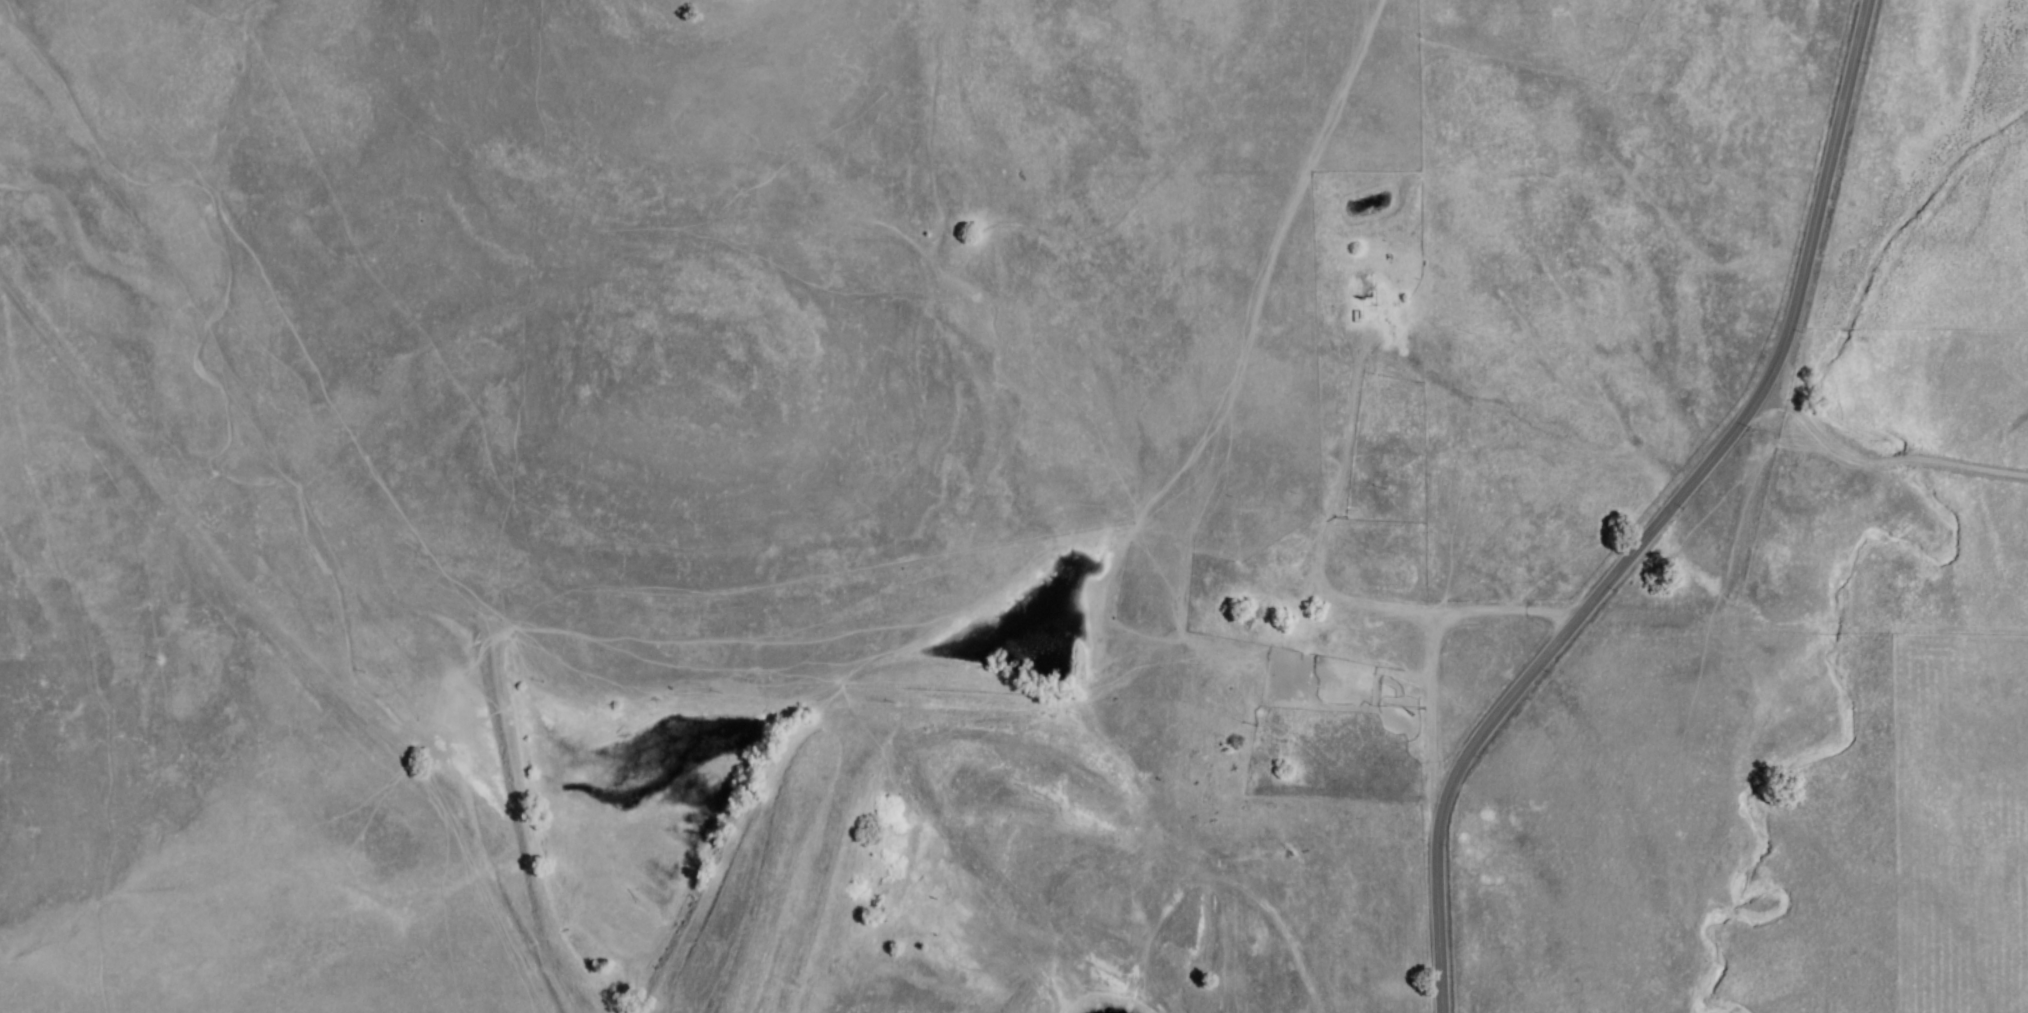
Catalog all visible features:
road: (1883, 462)
road: (1663, 520)

